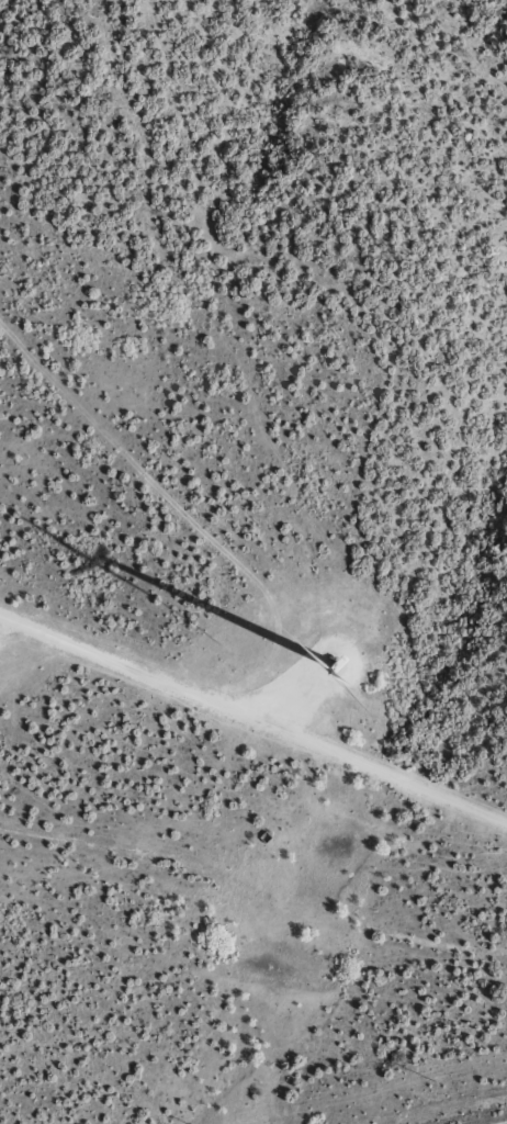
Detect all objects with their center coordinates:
wind turbine: (336, 666)
road: (252, 719)

